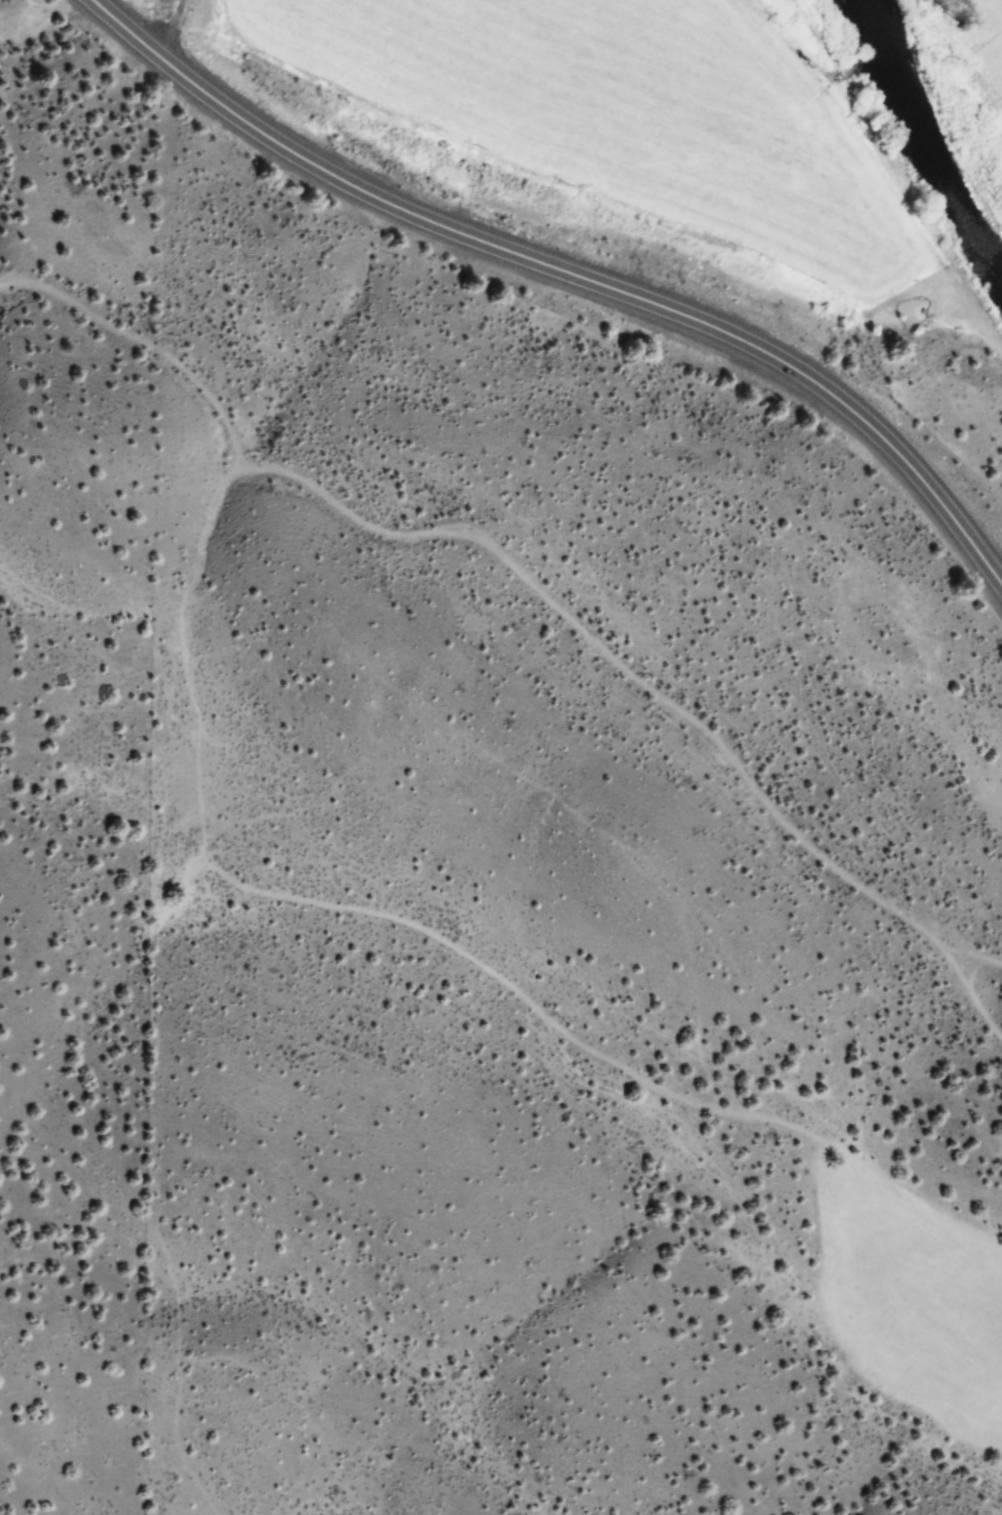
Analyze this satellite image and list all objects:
road: (172, 26)
river: (930, 129)
road: (568, 271)
road: (973, 991)

